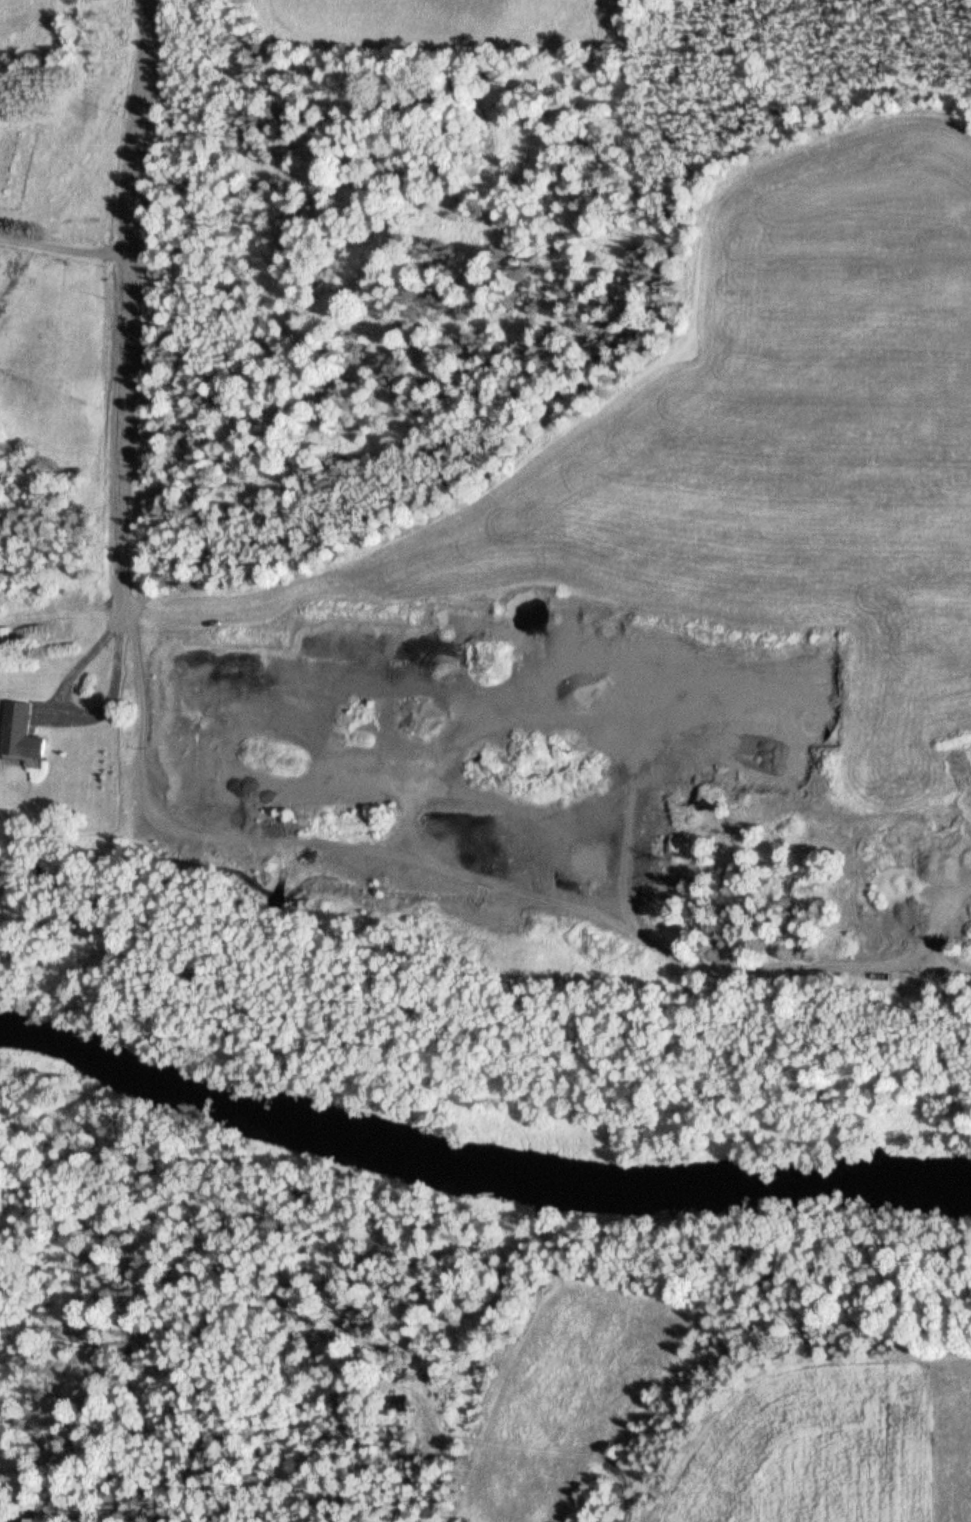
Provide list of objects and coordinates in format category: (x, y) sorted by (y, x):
road: (62, 251)
road: (122, 306)
road: (73, 714)
building: (19, 734)
road: (458, 876)
river: (477, 1180)

